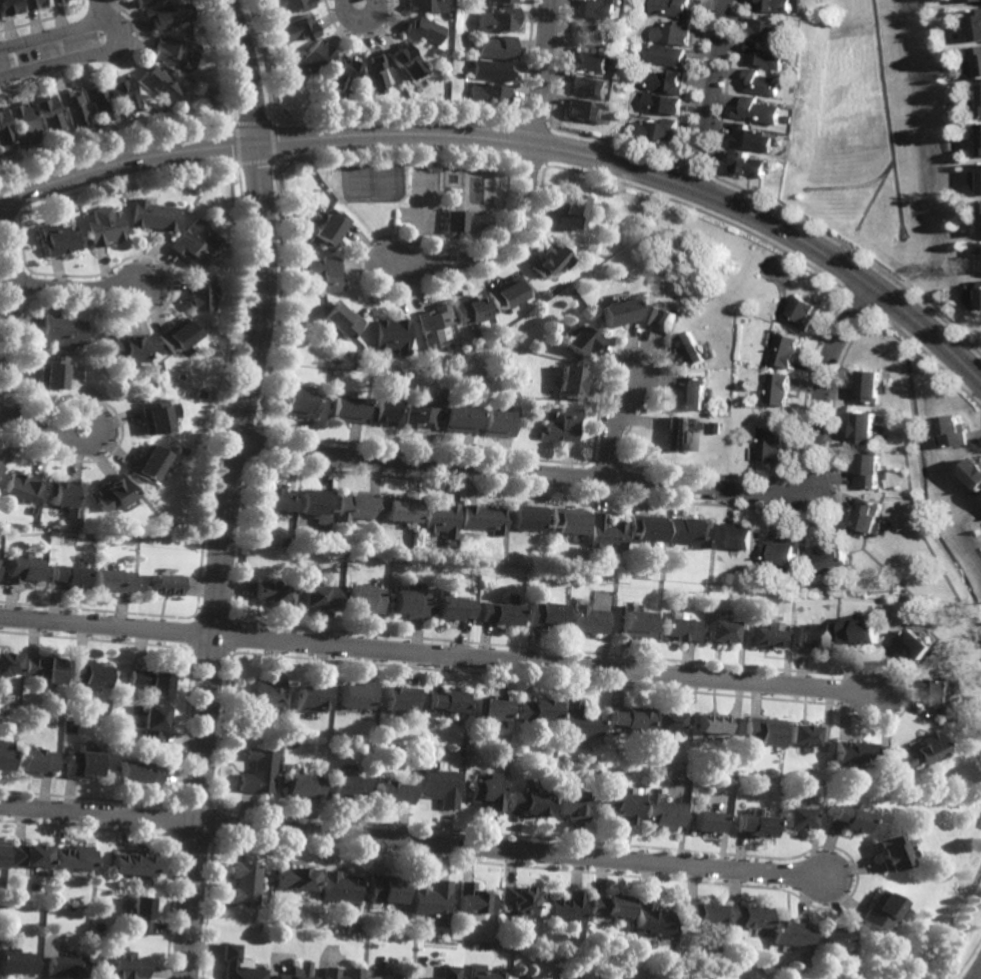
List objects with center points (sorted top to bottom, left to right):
building: (55, 1)
building: (973, 1)
building: (500, 2)
building: (34, 3)
building: (145, 3)
building: (290, 5)
building: (426, 6)
building: (779, 6)
building: (10, 7)
building: (598, 8)
building: (674, 8)
road: (106, 9)
building: (171, 15)
road: (358, 16)
building: (499, 20)
building: (975, 26)
building: (296, 29)
building: (423, 30)
building: (772, 31)
building: (673, 33)
road: (119, 34)
building: (593, 35)
building: (499, 48)
building: (178, 49)
building: (436, 52)
building: (669, 56)
building: (766, 57)
building: (312, 58)
building: (406, 60)
building: (590, 62)
building: (978, 62)
building: (492, 70)
road: (544, 72)
building: (340, 73)
building: (375, 73)
building: (668, 82)
building: (161, 83)
building: (763, 83)
building: (590, 87)
building: (128, 94)
building: (489, 94)
road: (712, 94)
building: (980, 98)
building: (103, 102)
building: (661, 104)
building: (76, 107)
building: (583, 111)
building: (760, 111)
building: (51, 114)
building: (28, 123)
building: (6, 128)
building: (657, 129)
building: (752, 138)
road: (519, 143)
building: (750, 165)
building: (567, 212)
building: (152, 216)
building: (454, 222)
building: (104, 228)
building: (328, 228)
building: (58, 239)
building: (193, 243)
road: (496, 243)
building: (546, 261)
building: (321, 276)
road: (77, 286)
building: (505, 294)
building: (198, 295)
building: (544, 296)
building: (468, 311)
building: (804, 313)
building: (615, 314)
building: (339, 319)
building: (661, 319)
building: (431, 324)
building: (62, 331)
building: (175, 335)
building: (389, 335)
road: (7, 337)
building: (579, 338)
building: (409, 343)
building: (124, 346)
building: (692, 346)
building: (787, 348)
building: (408, 351)
building: (350, 354)
building: (51, 371)
building: (568, 379)
building: (870, 385)
building: (779, 388)
building: (695, 391)
building: (295, 402)
building: (343, 407)
building: (382, 409)
building: (422, 409)
building: (459, 416)
building: (151, 417)
building: (496, 420)
building: (562, 424)
road: (616, 427)
building: (865, 427)
building: (955, 429)
road: (101, 431)
building: (678, 431)
building: (769, 444)
building: (904, 448)
building: (146, 463)
building: (1, 467)
building: (870, 470)
building: (974, 470)
road: (627, 482)
road: (225, 486)
building: (22, 487)
building: (65, 493)
building: (111, 493)
building: (274, 501)
building: (315, 504)
building: (358, 505)
building: (403, 507)
building: (444, 517)
building: (530, 517)
building: (487, 518)
building: (870, 518)
building: (571, 520)
building: (648, 527)
building: (691, 531)
building: (608, 532)
building: (739, 536)
building: (783, 551)
building: (835, 559)
building: (875, 566)
building: (22, 569)
building: (69, 575)
building: (111, 580)
building: (161, 584)
building: (272, 592)
building: (317, 596)
building: (362, 598)
building: (409, 603)
building: (452, 607)
building: (498, 613)
building: (543, 613)
building: (588, 619)
building: (634, 622)
building: (681, 629)
building: (862, 629)
building: (719, 630)
building: (815, 637)
building: (765, 638)
building: (916, 644)
road: (438, 655)
building: (9, 667)
building: (45, 669)
building: (89, 673)
building: (151, 682)
building: (266, 690)
building: (355, 696)
building: (310, 697)
building: (400, 699)
building: (940, 699)
building: (445, 702)
building: (490, 708)
building: (536, 710)
building: (579, 719)
building: (627, 719)
building: (664, 721)
building: (151, 723)
building: (711, 723)
building: (762, 730)
building: (799, 736)
building: (920, 750)
building: (850, 752)
building: (3, 760)
building: (33, 763)
building: (79, 763)
building: (257, 772)
building: (137, 773)
building: (302, 786)
building: (440, 787)
building: (346, 788)
building: (392, 793)
building: (485, 793)
building: (528, 802)
building: (573, 805)
building: (620, 807)
building: (662, 814)
building: (796, 819)
building: (845, 819)
building: (707, 821)
building: (755, 825)
road: (413, 842)
building: (0, 851)
building: (886, 855)
building: (27, 857)
building: (72, 858)
building: (132, 865)
building: (293, 879)
building: (243, 883)
building: (338, 888)
building: (385, 890)
building: (520, 899)
building: (430, 900)
building: (471, 900)
building: (1, 903)
building: (611, 906)
building: (565, 907)
building: (882, 913)
building: (282, 914)
building: (701, 914)
building: (139, 916)
building: (746, 917)
building: (651, 919)
building: (51, 922)
building: (790, 934)
building: (831, 939)
building: (725, 940)
building: (723, 955)
building: (16, 961)
building: (63, 964)
building: (124, 965)
building: (236, 966)
building: (352, 970)
building: (449, 971)
building: (487, 974)
building: (289, 976)
road: (980, 977)

